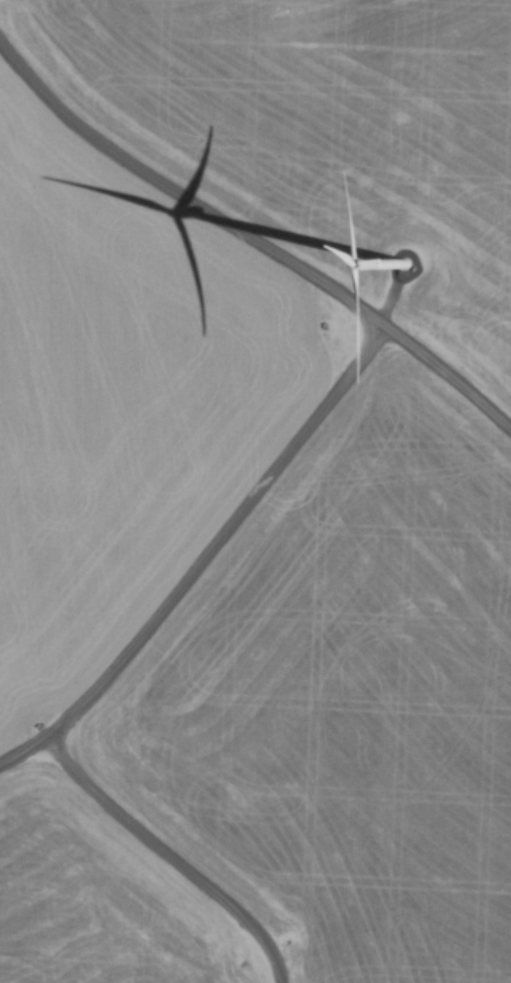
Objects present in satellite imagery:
wind turbine: (410, 274)

